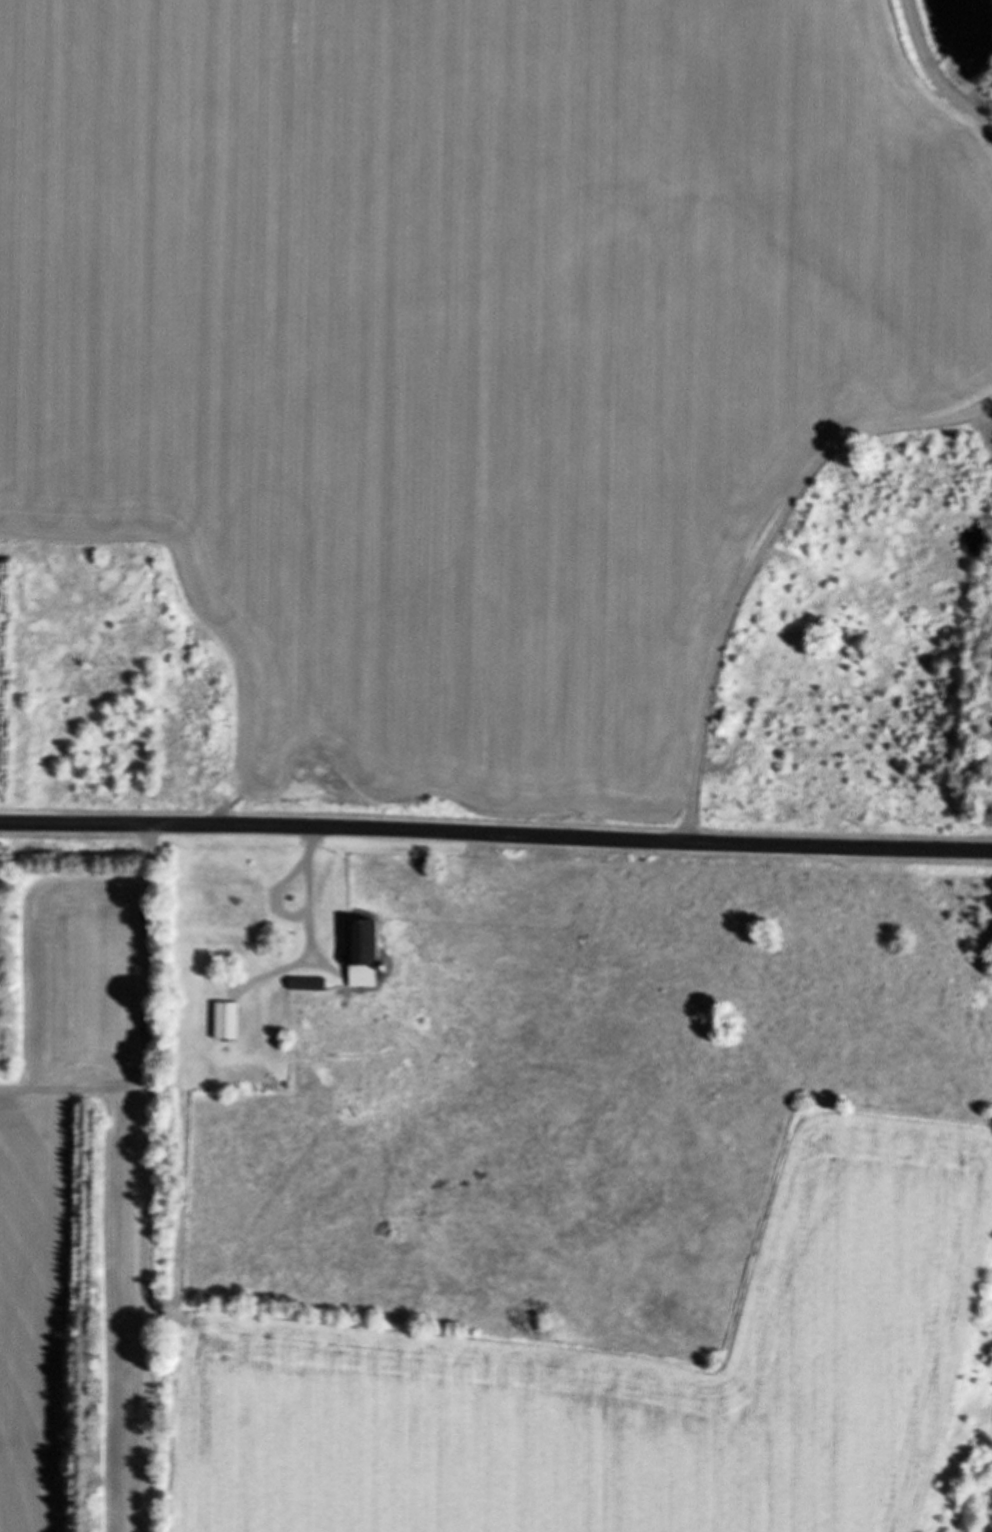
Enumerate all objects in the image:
road: (496, 834)
building: (246, 896)
building: (358, 950)
building: (223, 1019)
road: (163, 1178)

